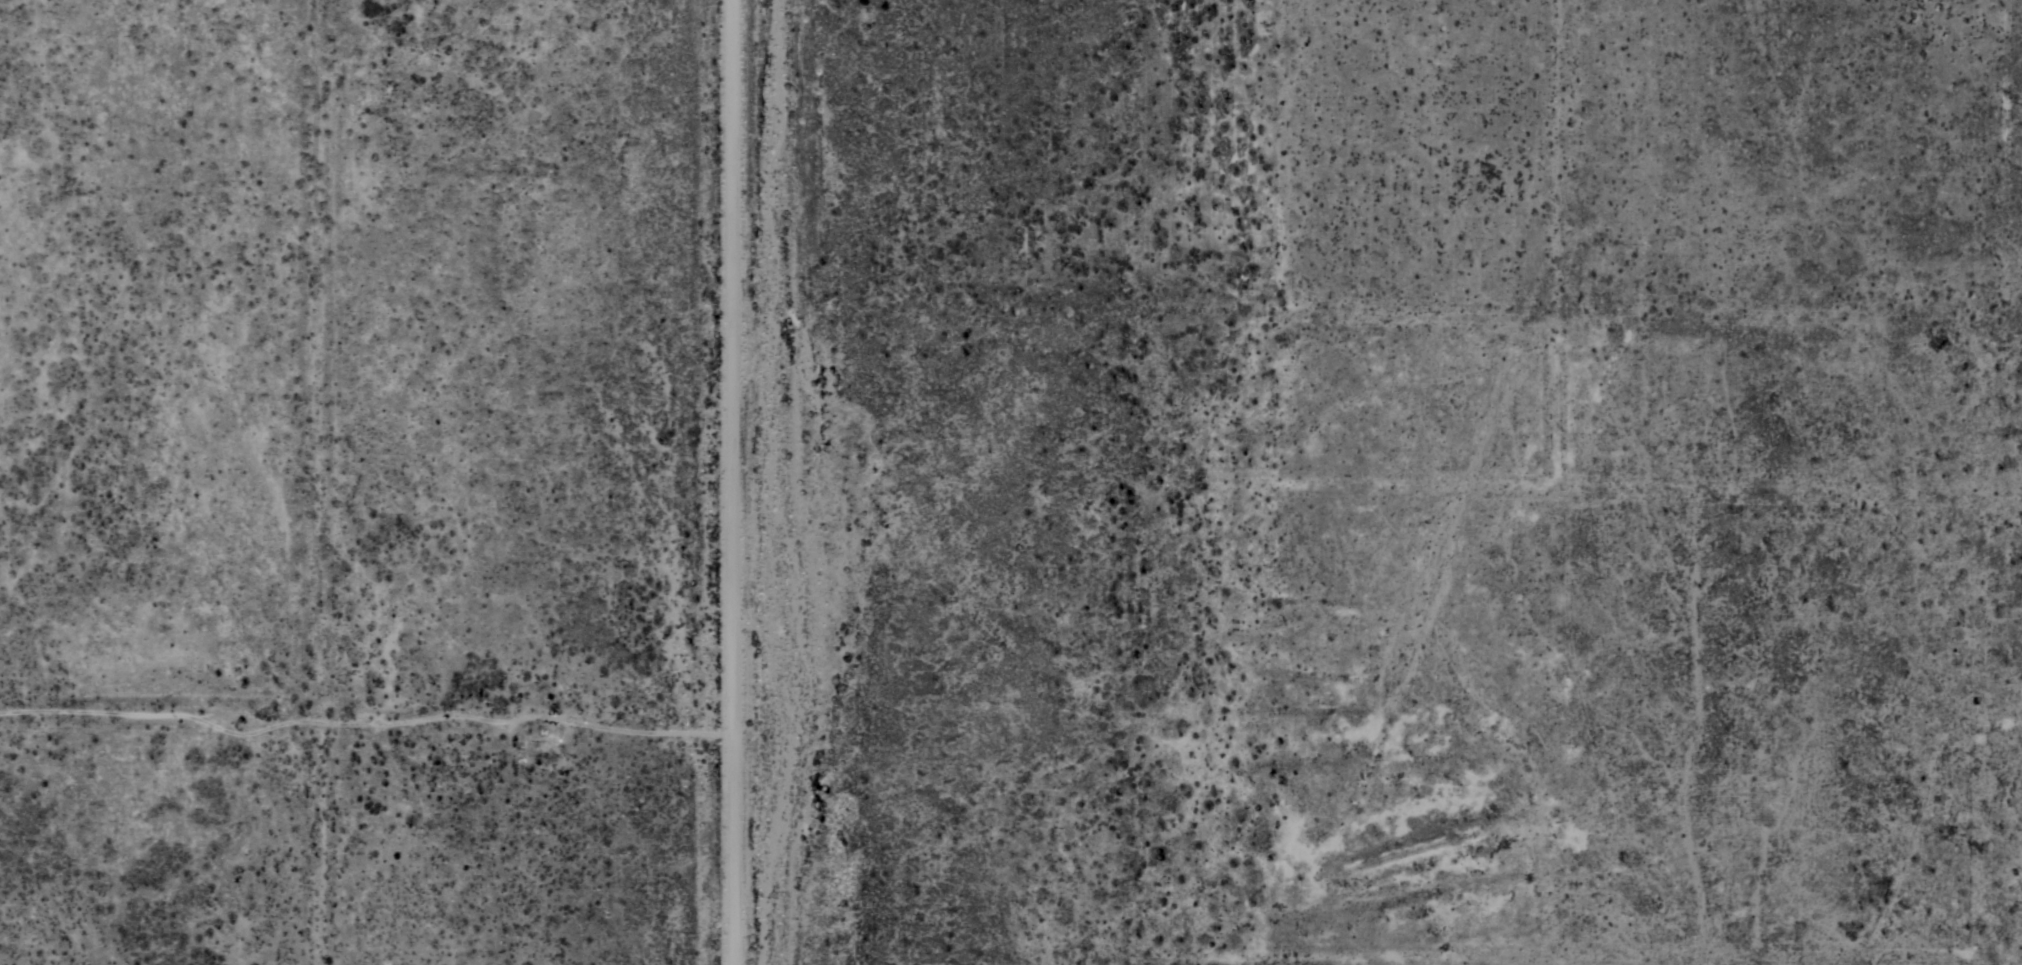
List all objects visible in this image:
road: (728, 482)

